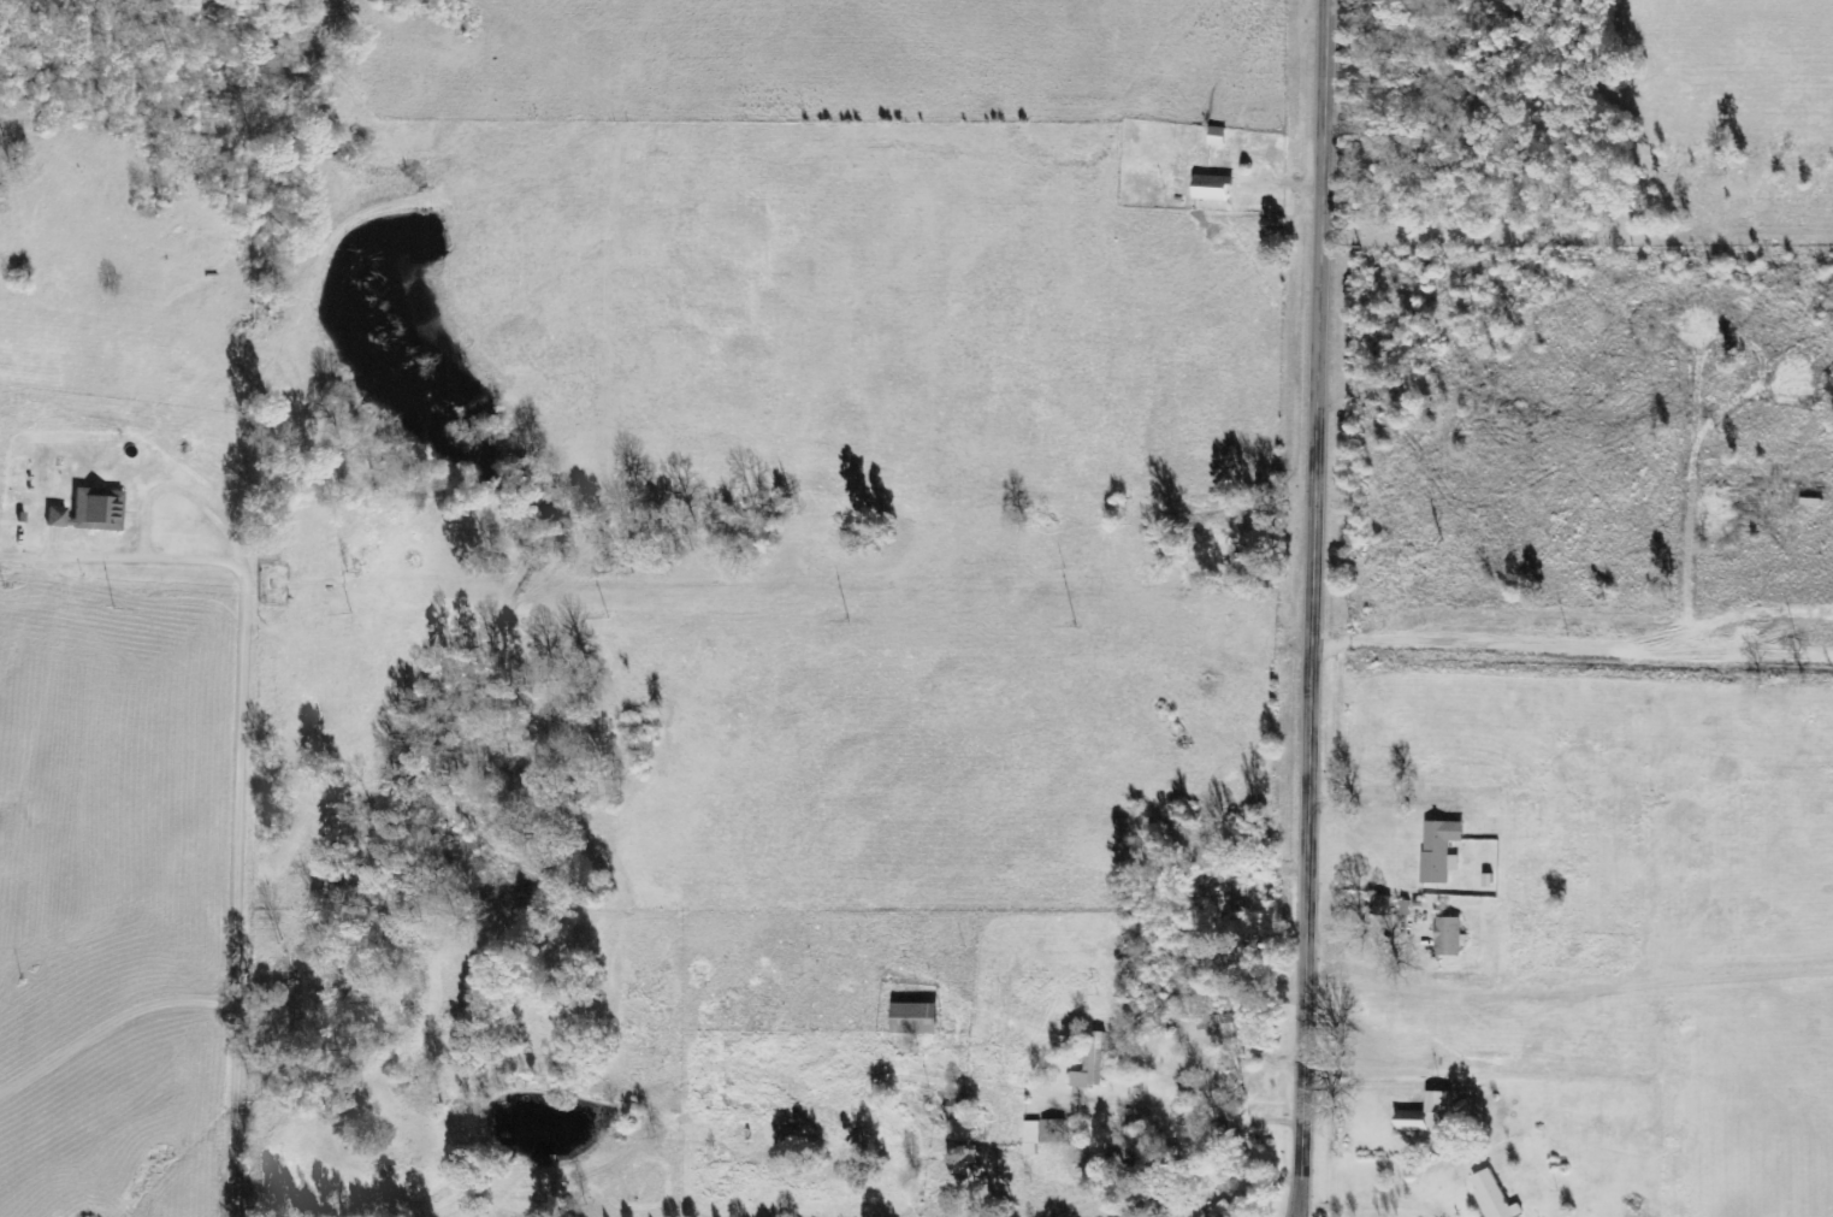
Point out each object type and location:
building: (1217, 136)
road: (1543, 170)
building: (1210, 188)
building: (87, 512)
road: (1572, 540)
road: (1309, 608)
building: (1441, 851)
building: (1380, 906)
building: (1448, 937)
road: (215, 996)
building: (915, 1017)
building: (1090, 1063)
building: (957, 1112)
building: (1425, 1113)
building: (1042, 1134)
building: (1494, 1195)
building: (1208, 1211)
road: (1300, 1213)

